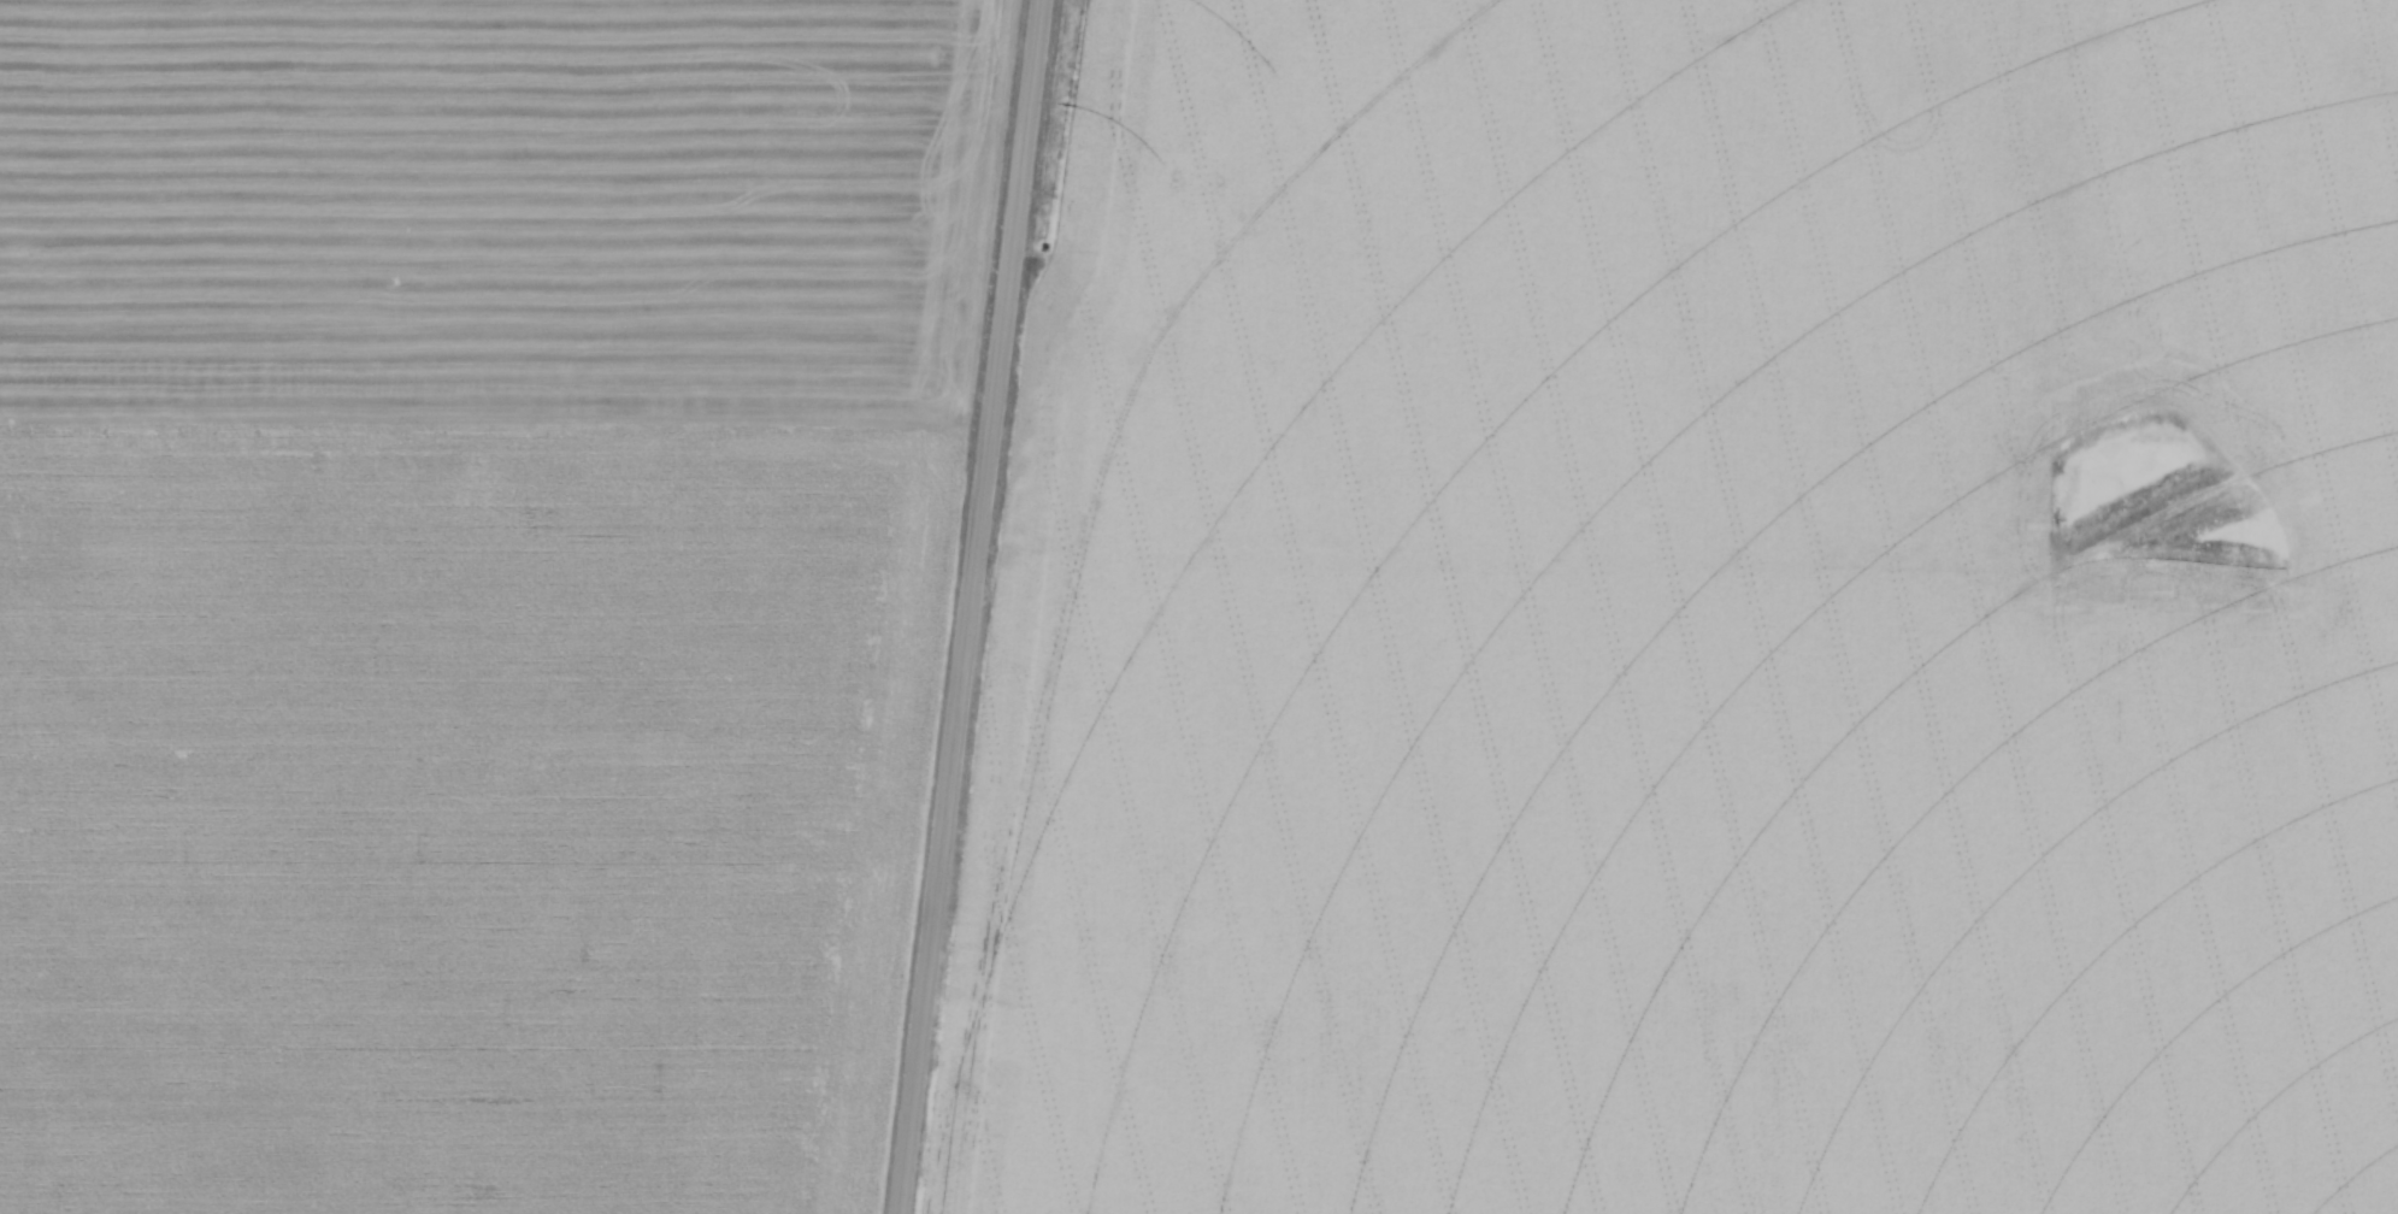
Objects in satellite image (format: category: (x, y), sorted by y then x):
crop: (473, 591)
road: (971, 606)
crop: (1696, 618)

